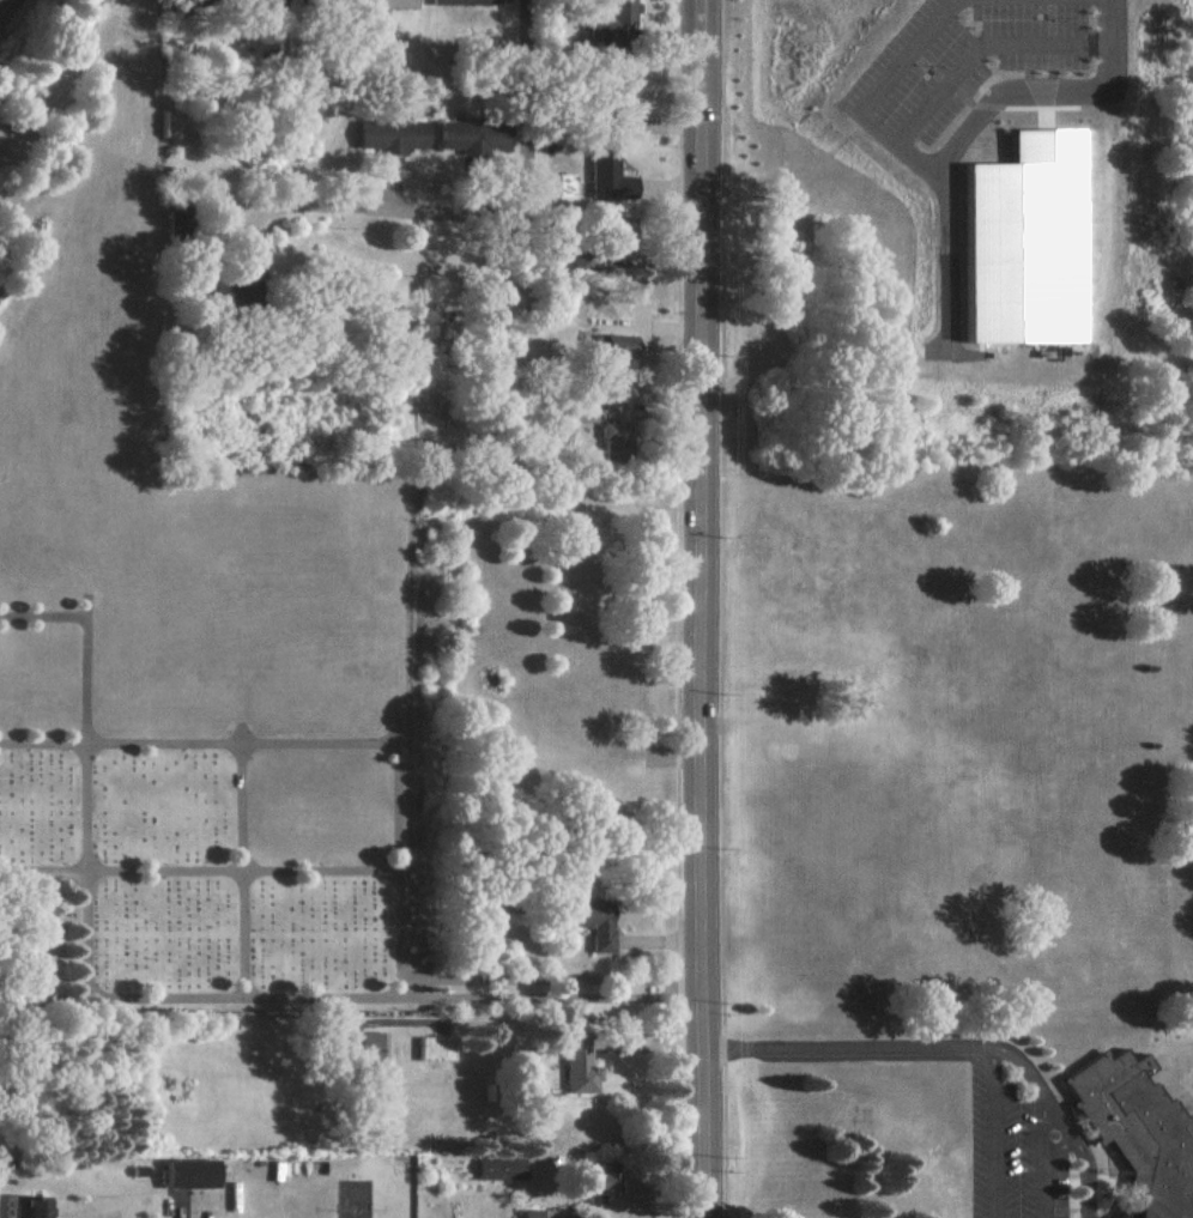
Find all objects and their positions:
road: (0, 0)
building: (393, 2)
building: (614, 22)
building: (625, 87)
building: (392, 135)
building: (473, 137)
road: (951, 151)
building: (608, 176)
road: (474, 211)
building: (1028, 240)
building: (617, 441)
road: (700, 608)
road: (43, 612)
park: (198, 647)
road: (199, 743)
road: (243, 858)
road: (399, 859)
road: (199, 867)
road: (46, 885)
building: (48, 922)
building: (596, 928)
road: (86, 934)
road: (550, 977)
road: (540, 996)
building: (373, 1047)
building: (435, 1048)
road: (846, 1049)
building: (579, 1067)
road: (1060, 1121)
building: (1138, 1131)
road: (993, 1132)
building: (498, 1168)
building: (189, 1174)
building: (599, 1182)
building: (26, 1206)
building: (531, 1213)

